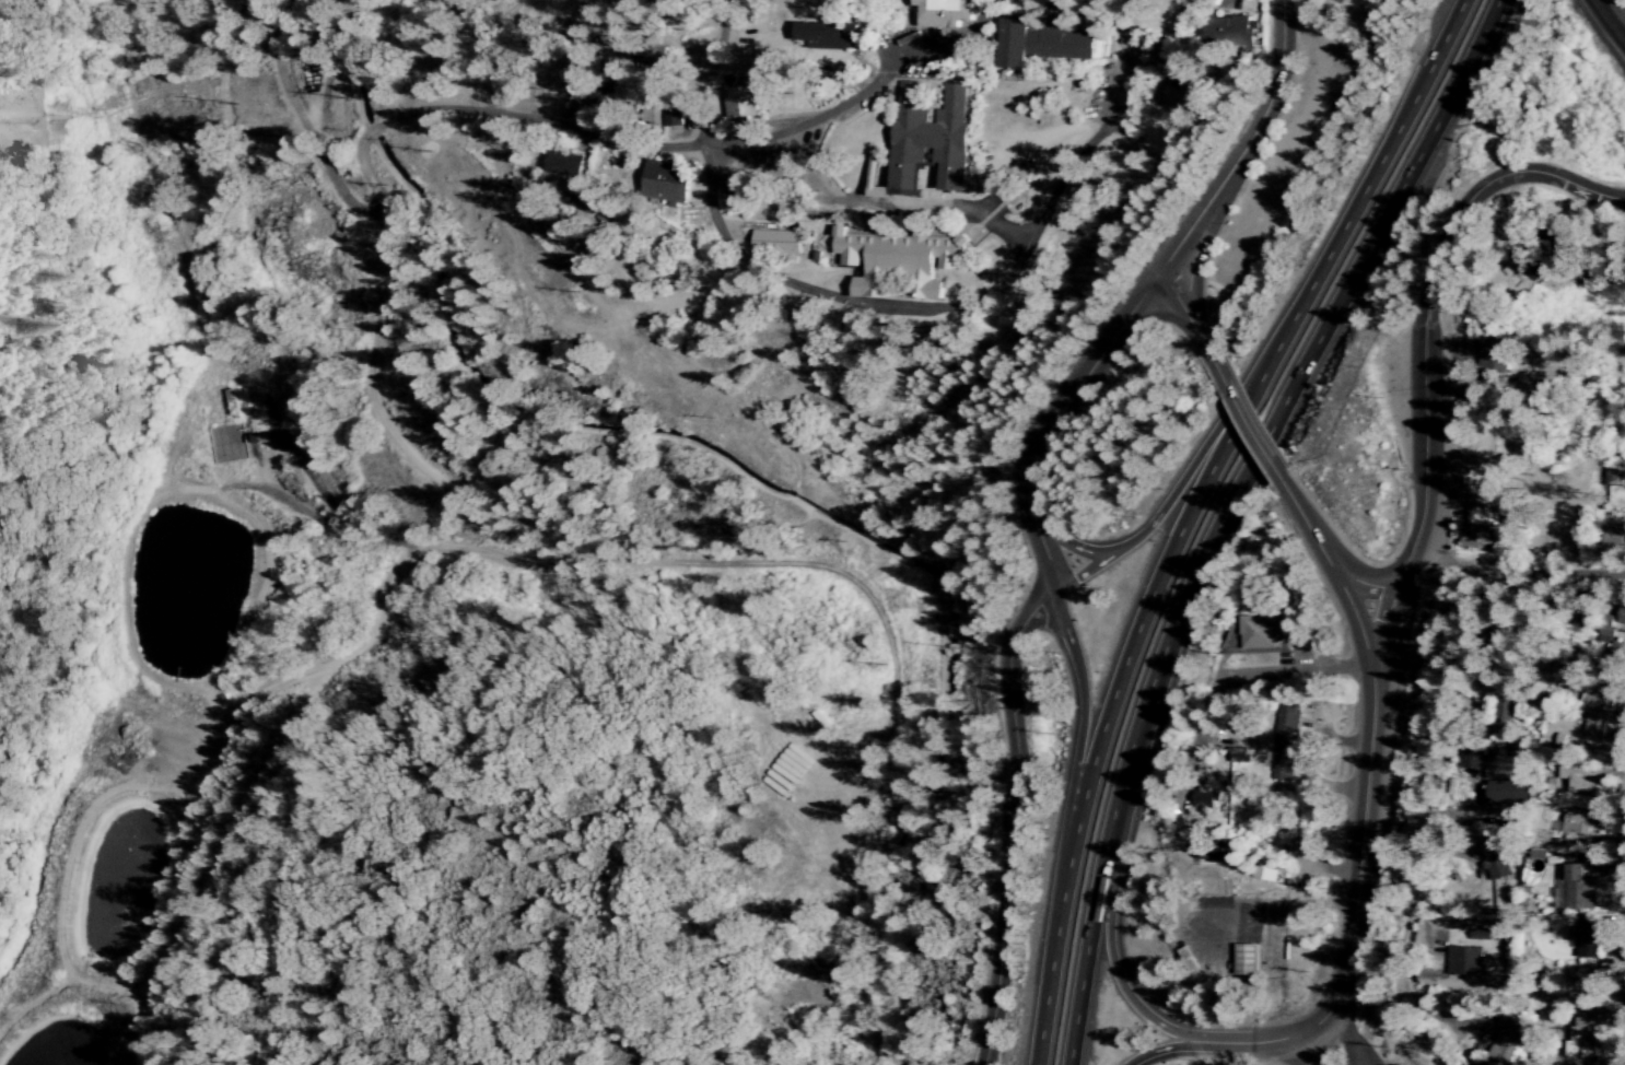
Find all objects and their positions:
road: (1279, 0)
building: (943, 12)
railway: (1609, 21)
building: (1227, 32)
building: (826, 35)
building: (1042, 43)
building: (621, 91)
building: (740, 102)
road: (296, 124)
road: (803, 124)
road: (496, 125)
road: (1096, 134)
building: (928, 140)
road: (1243, 147)
building: (562, 164)
building: (664, 182)
building: (875, 189)
road: (874, 204)
road: (712, 220)
road: (375, 222)
road: (1582, 239)
building: (774, 242)
road: (1199, 256)
building: (897, 260)
road: (885, 307)
road: (1425, 307)
road: (1188, 324)
building: (1493, 353)
road: (1052, 422)
road: (1249, 425)
building: (226, 443)
road: (1169, 498)
road: (1190, 508)
road: (1223, 510)
building: (1476, 528)
road: (1069, 546)
road: (1516, 564)
road: (502, 570)
road: (1331, 573)
road: (1360, 584)
building: (1622, 617)
building: (1606, 630)
road: (1381, 631)
building: (1618, 654)
road: (1295, 672)
road: (1082, 698)
building: (1504, 711)
building: (1598, 713)
building: (1283, 742)
building: (1582, 781)
building: (1508, 794)
building: (1204, 799)
road: (1419, 820)
road: (1015, 821)
building: (1573, 823)
building: (1493, 862)
road: (1356, 864)
building: (1265, 874)
building: (1585, 940)
building: (1188, 960)
building: (1244, 960)
building: (1462, 961)
road: (1120, 987)
building: (1581, 1037)
road: (1252, 1043)
building: (1506, 1045)
road: (1166, 1050)
road: (1302, 1050)

